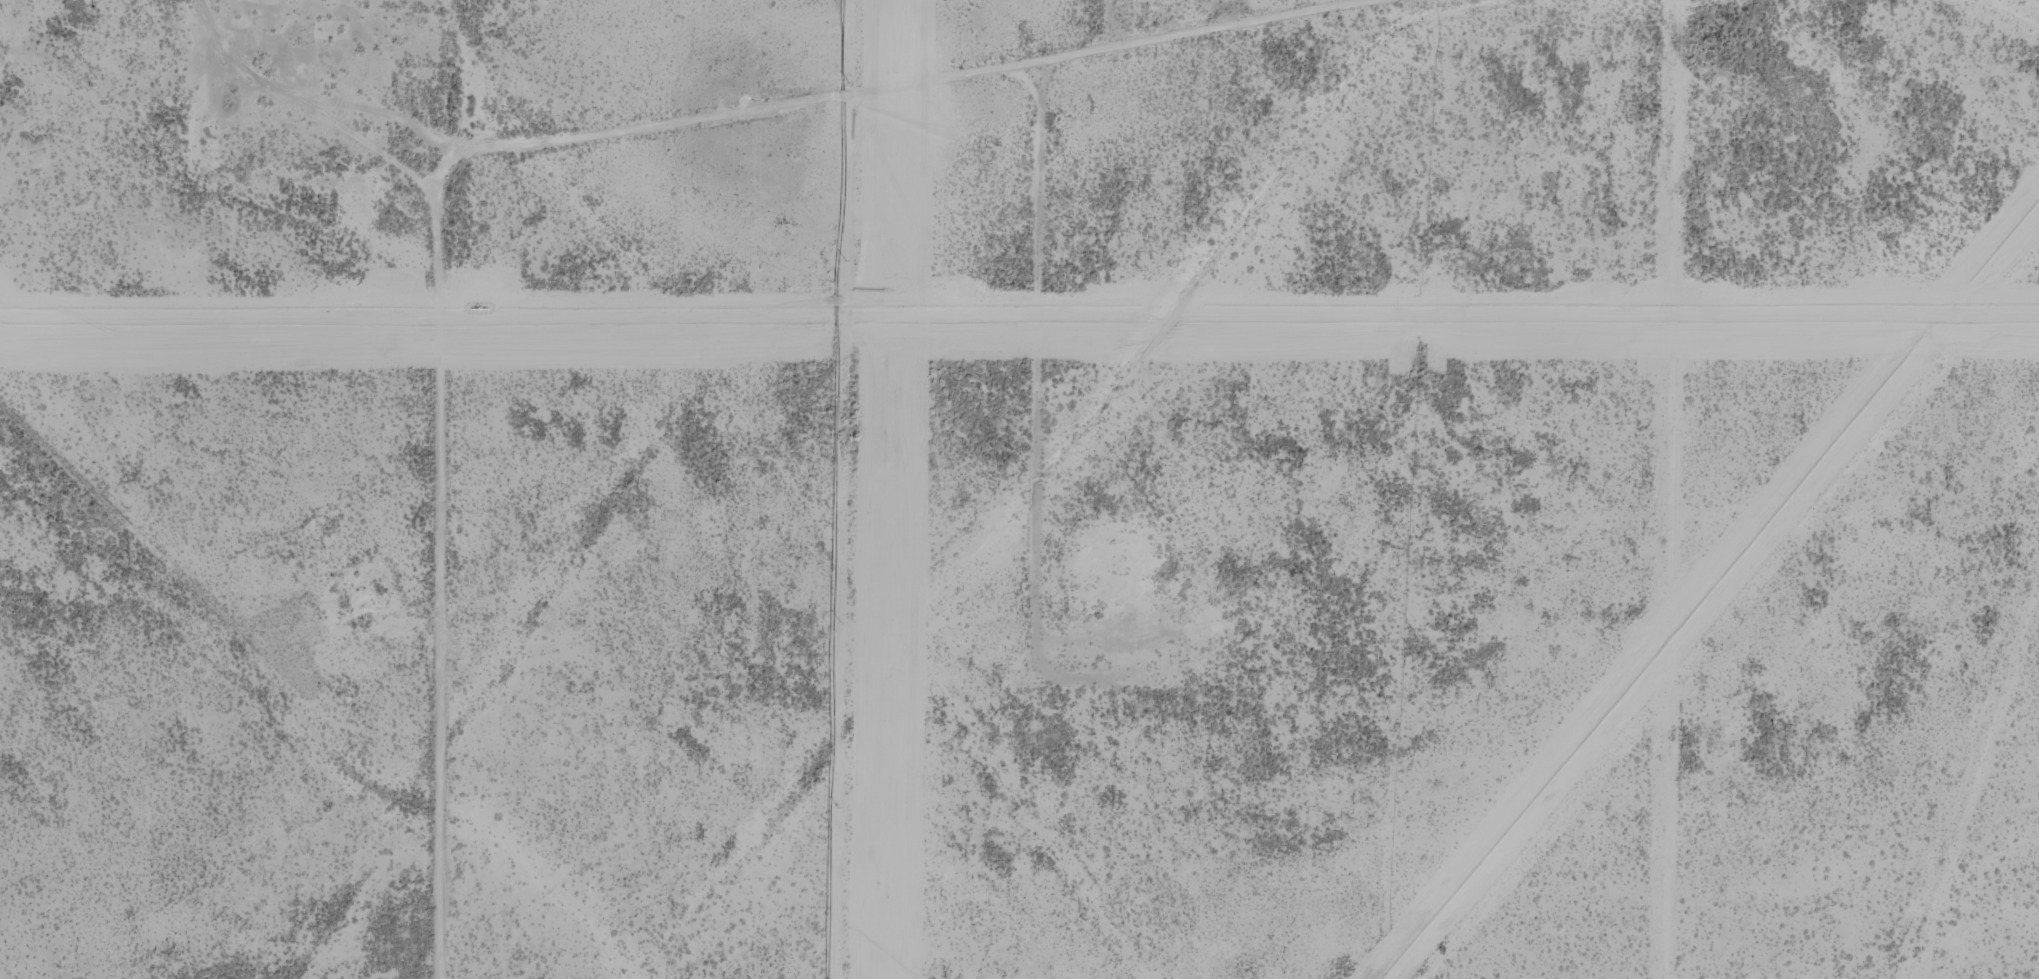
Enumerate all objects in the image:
road: (535, 136)
road: (2026, 233)
road: (305, 738)

